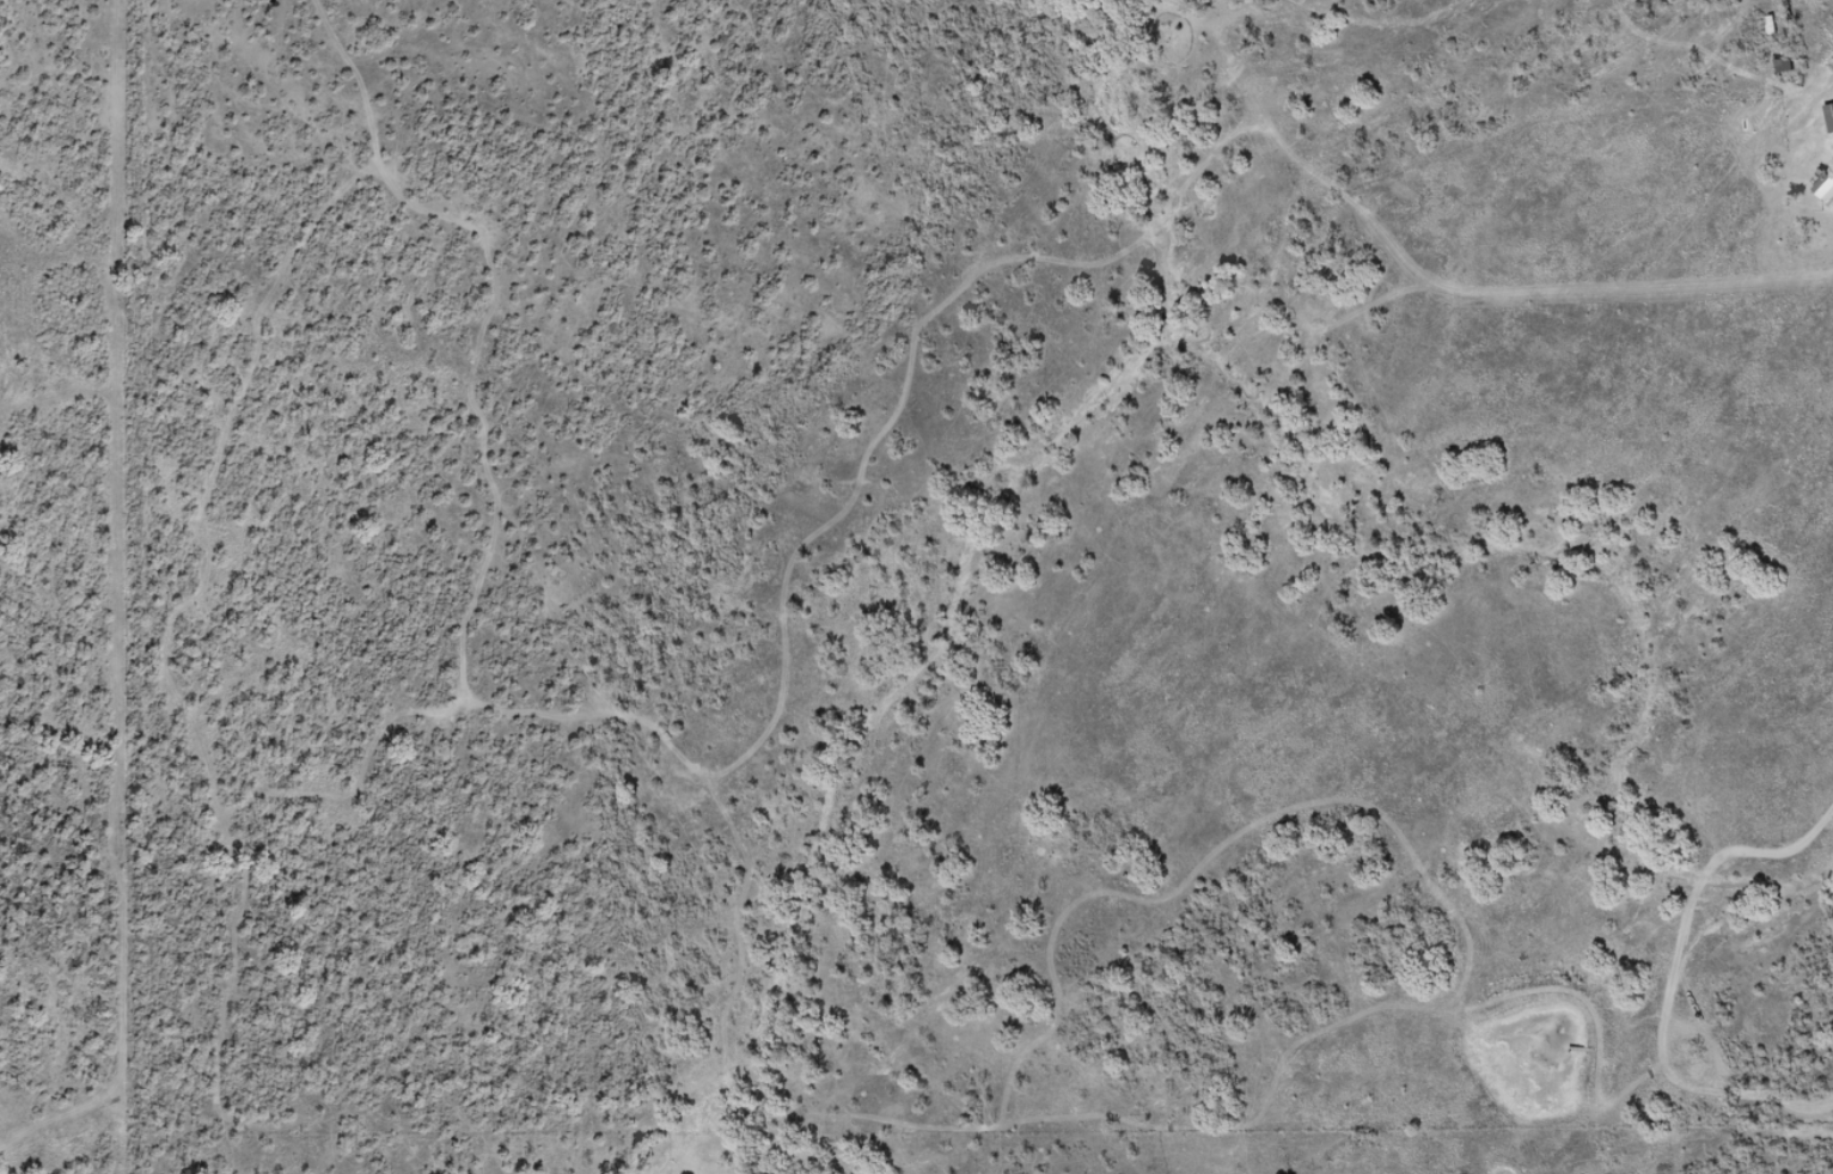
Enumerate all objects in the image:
building: (1828, 117)
building: (1823, 189)

